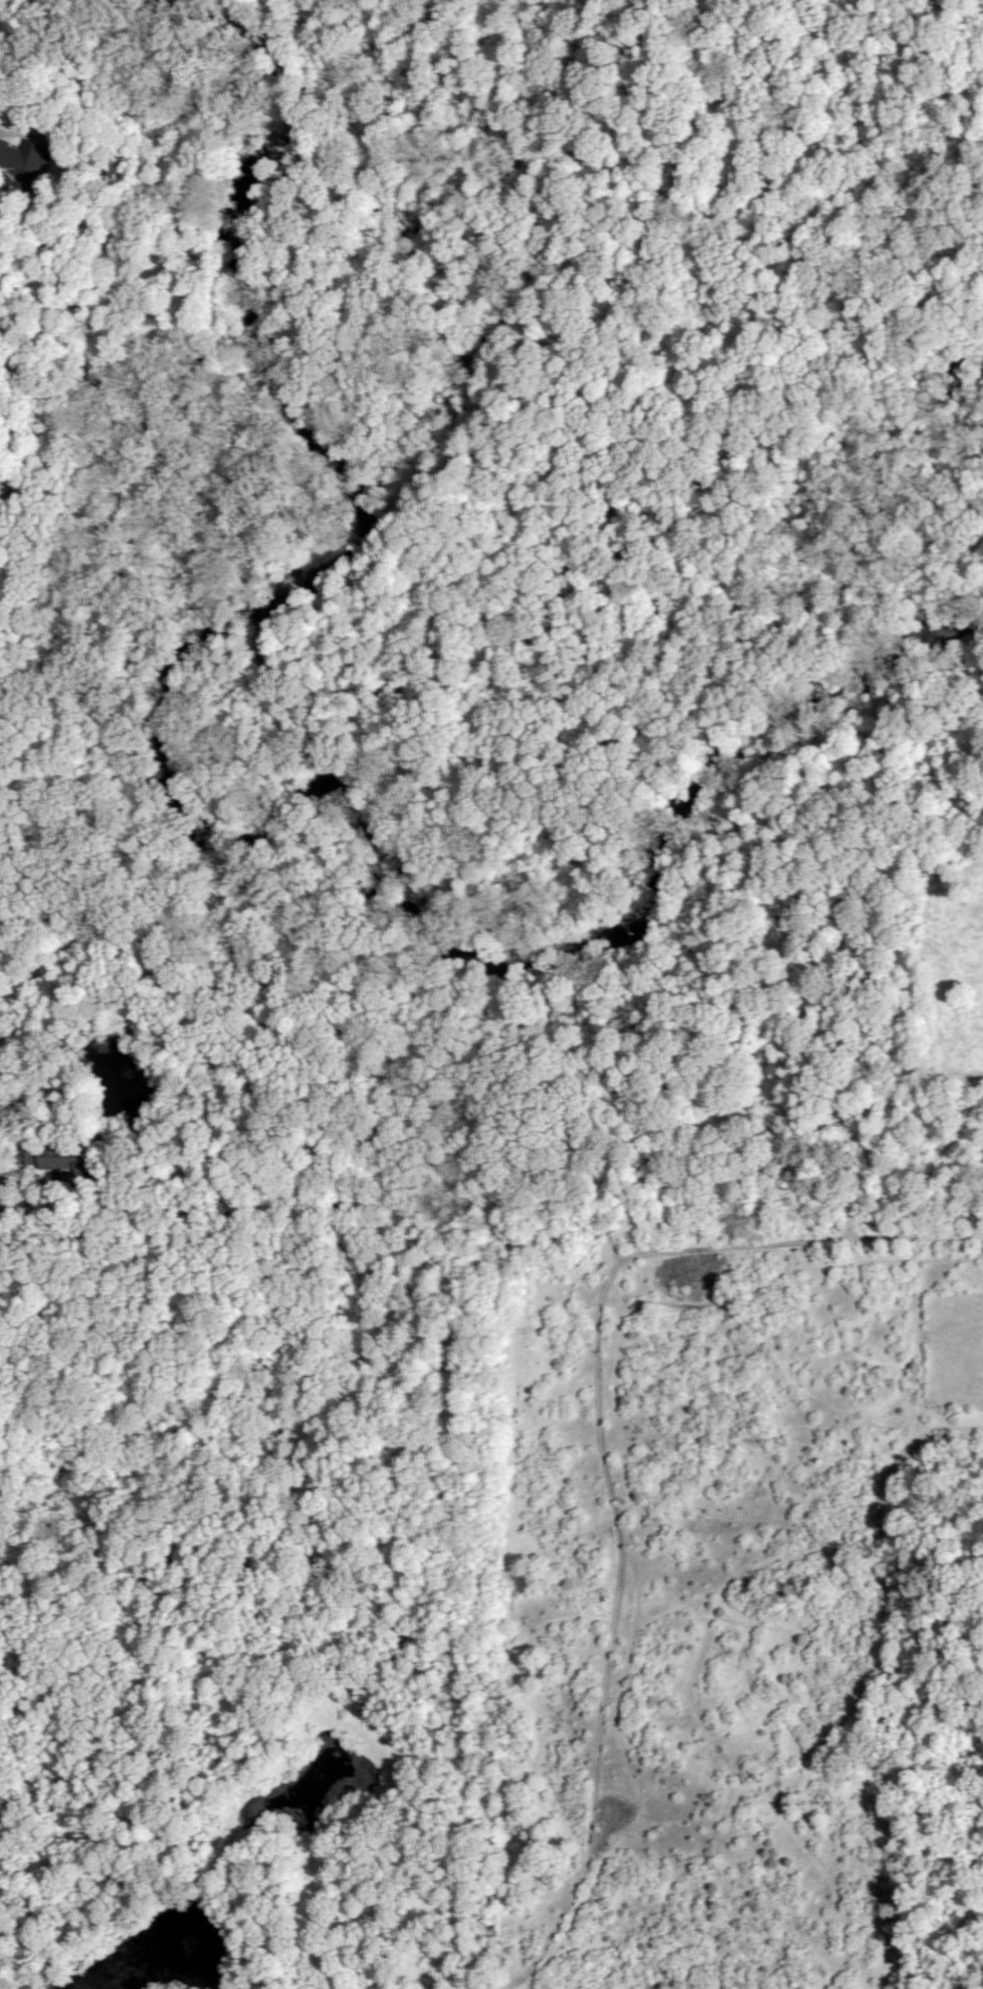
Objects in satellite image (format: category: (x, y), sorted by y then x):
building: (23, 163)
building: (65, 1159)
road: (26, 1183)
road: (603, 1458)

